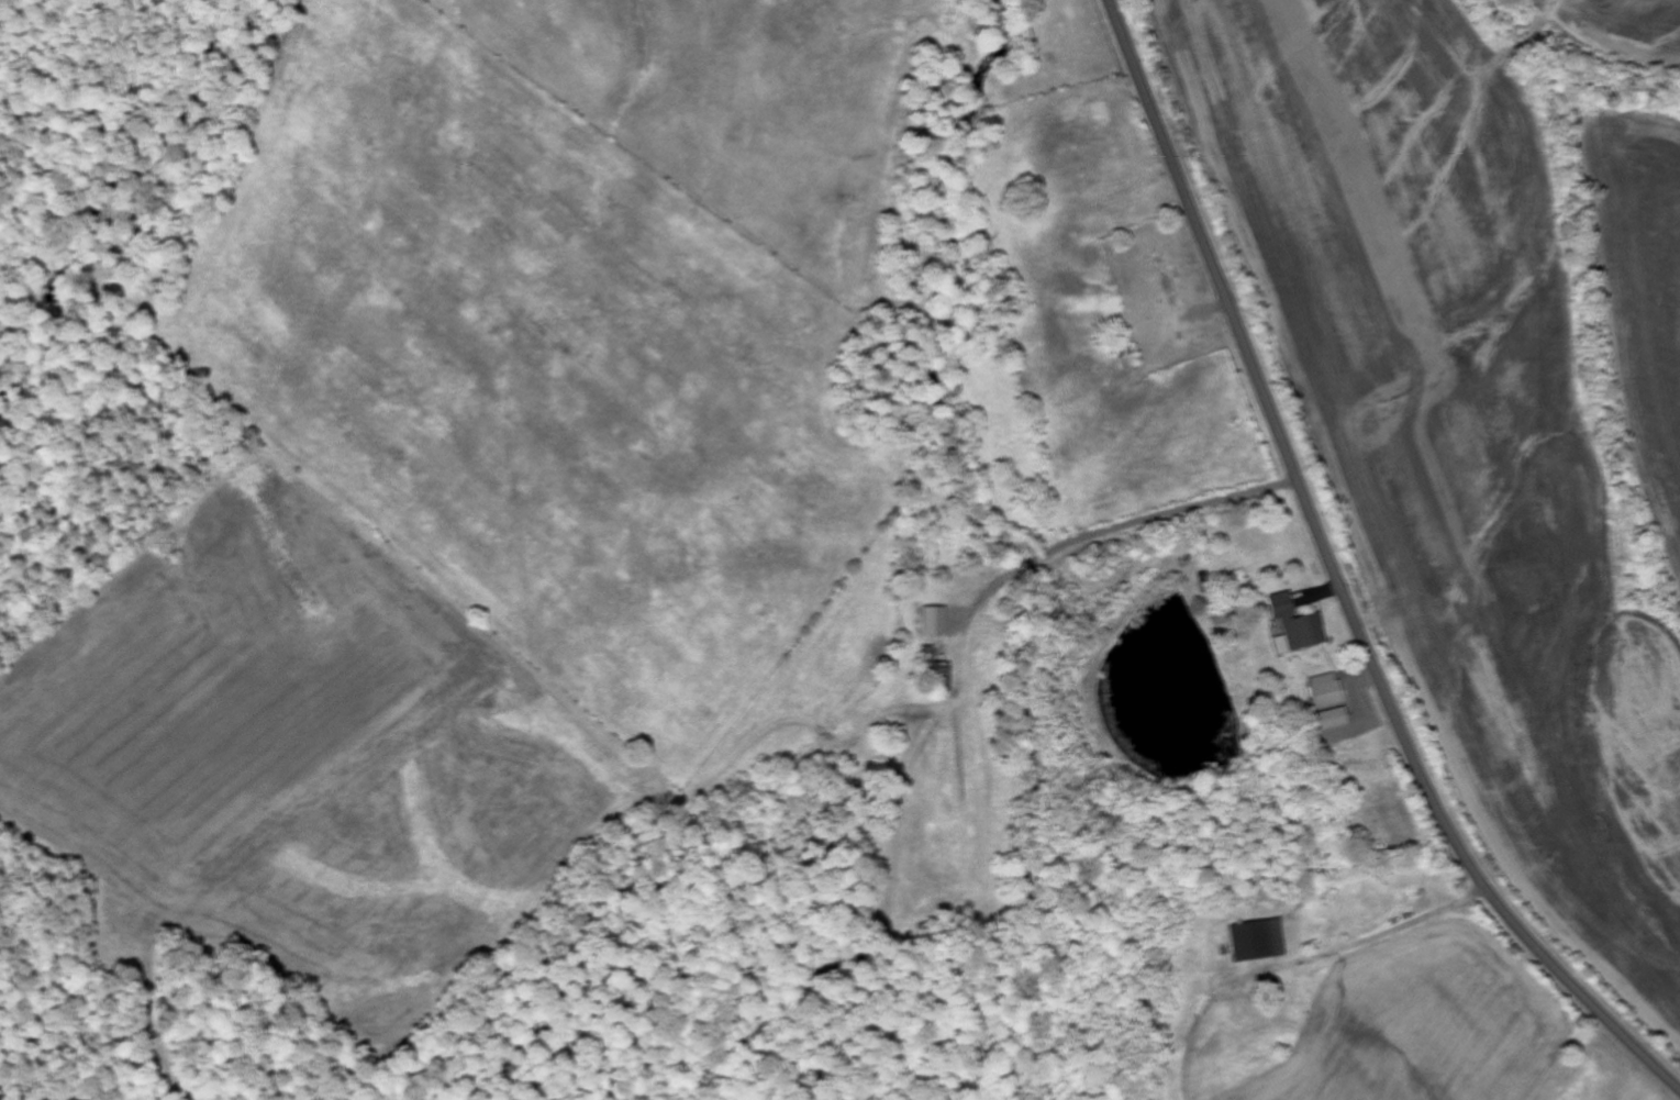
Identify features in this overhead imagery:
road: (1336, 580)
building: (934, 622)
building: (1294, 626)
building: (1327, 702)
building: (1256, 941)

